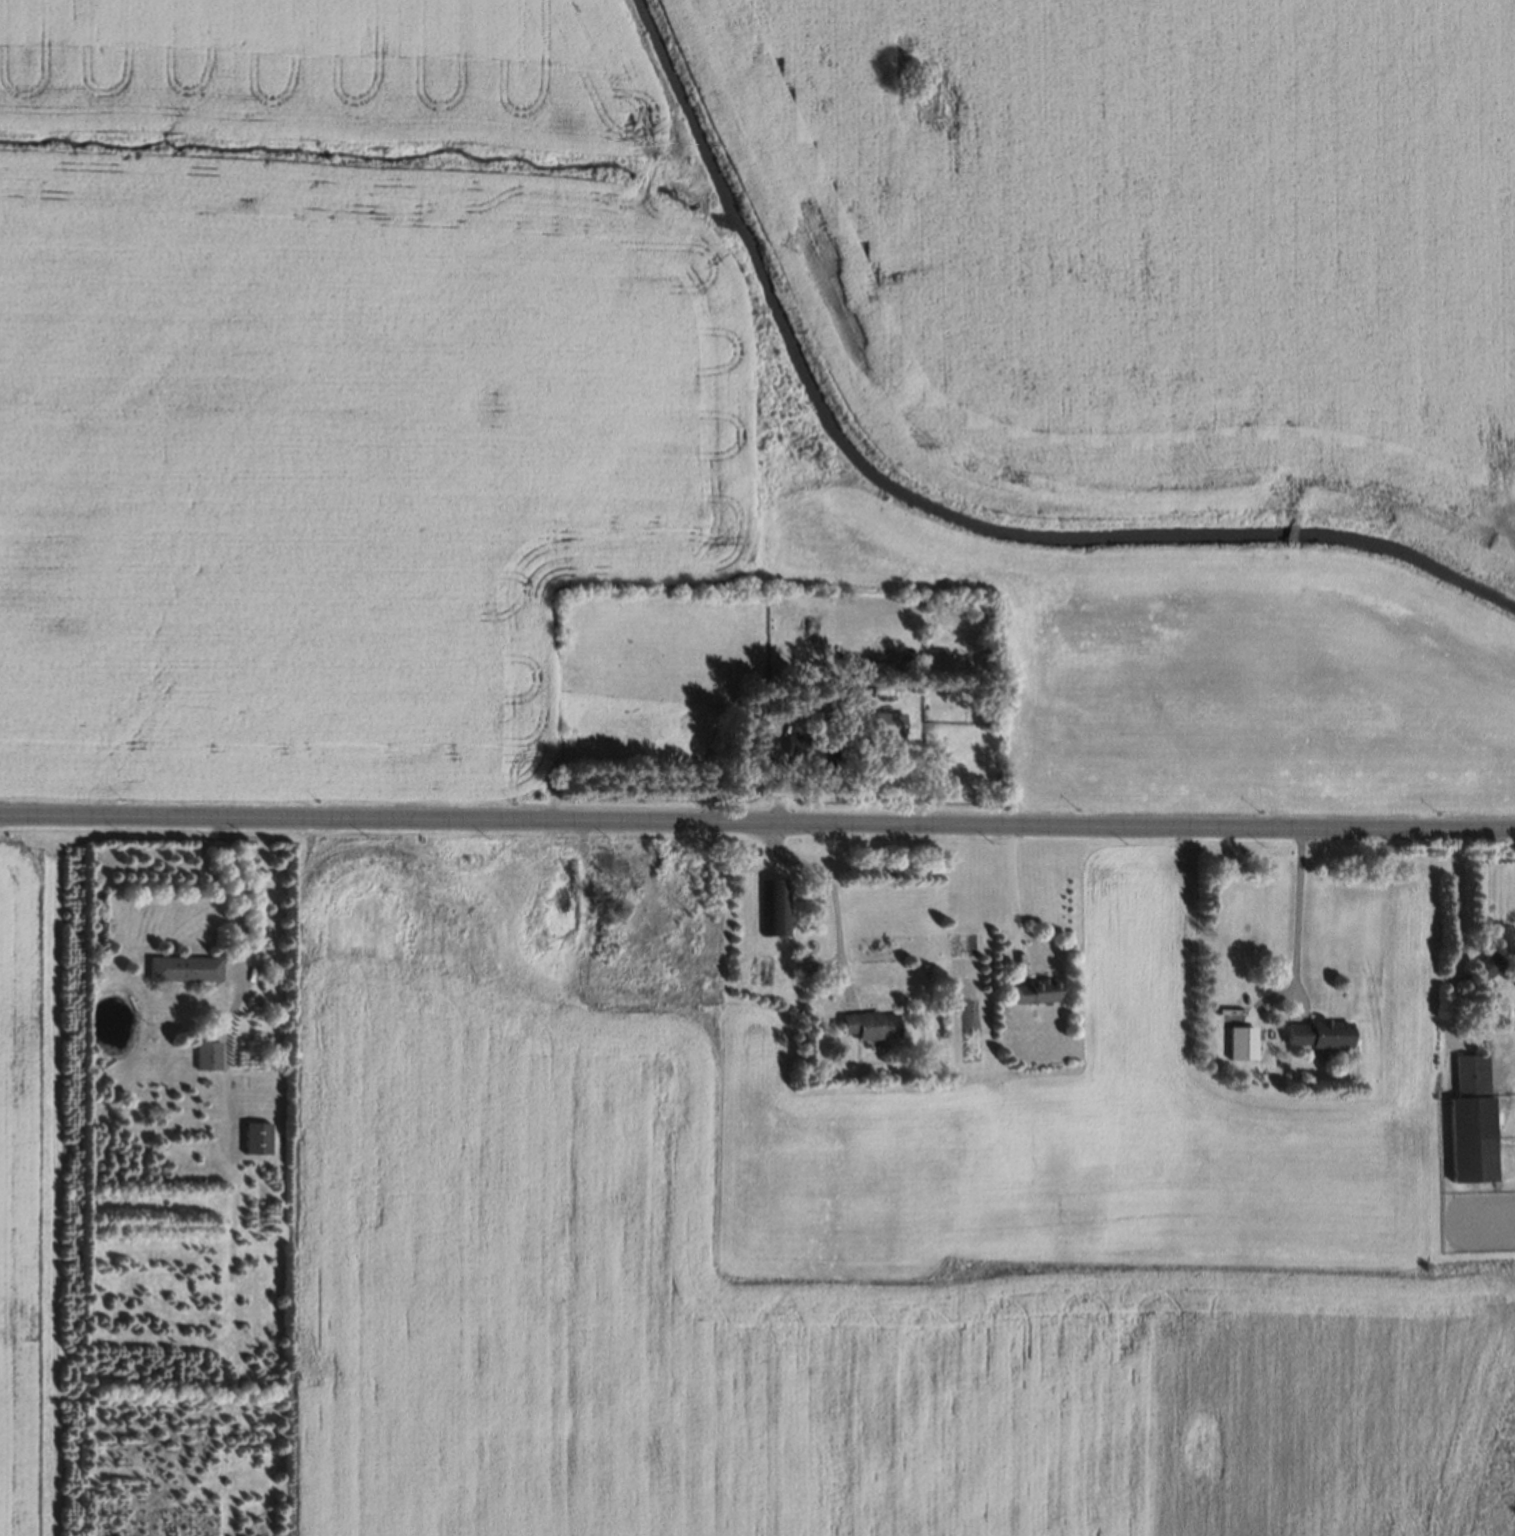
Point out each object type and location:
building: (849, 694)
building: (884, 723)
building: (865, 745)
building: (810, 752)
road: (757, 820)
road: (238, 890)
road: (1012, 892)
road: (833, 893)
building: (775, 907)
road: (1299, 912)
road: (1458, 921)
building: (1489, 965)
building: (186, 970)
building: (1037, 992)
building: (871, 1025)
building: (1318, 1034)
building: (1247, 1043)
building: (209, 1056)
building: (1470, 1122)
building: (258, 1138)

